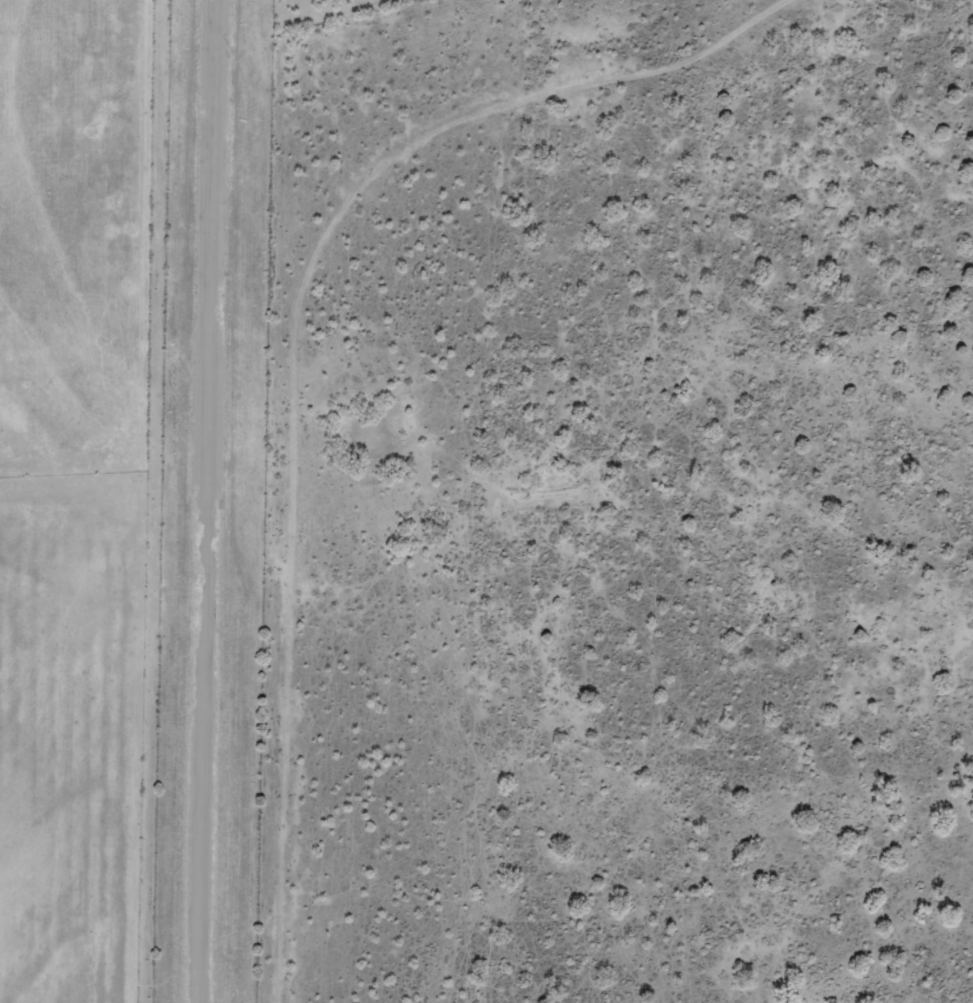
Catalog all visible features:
road: (593, 70)
airport runway: (206, 501)

